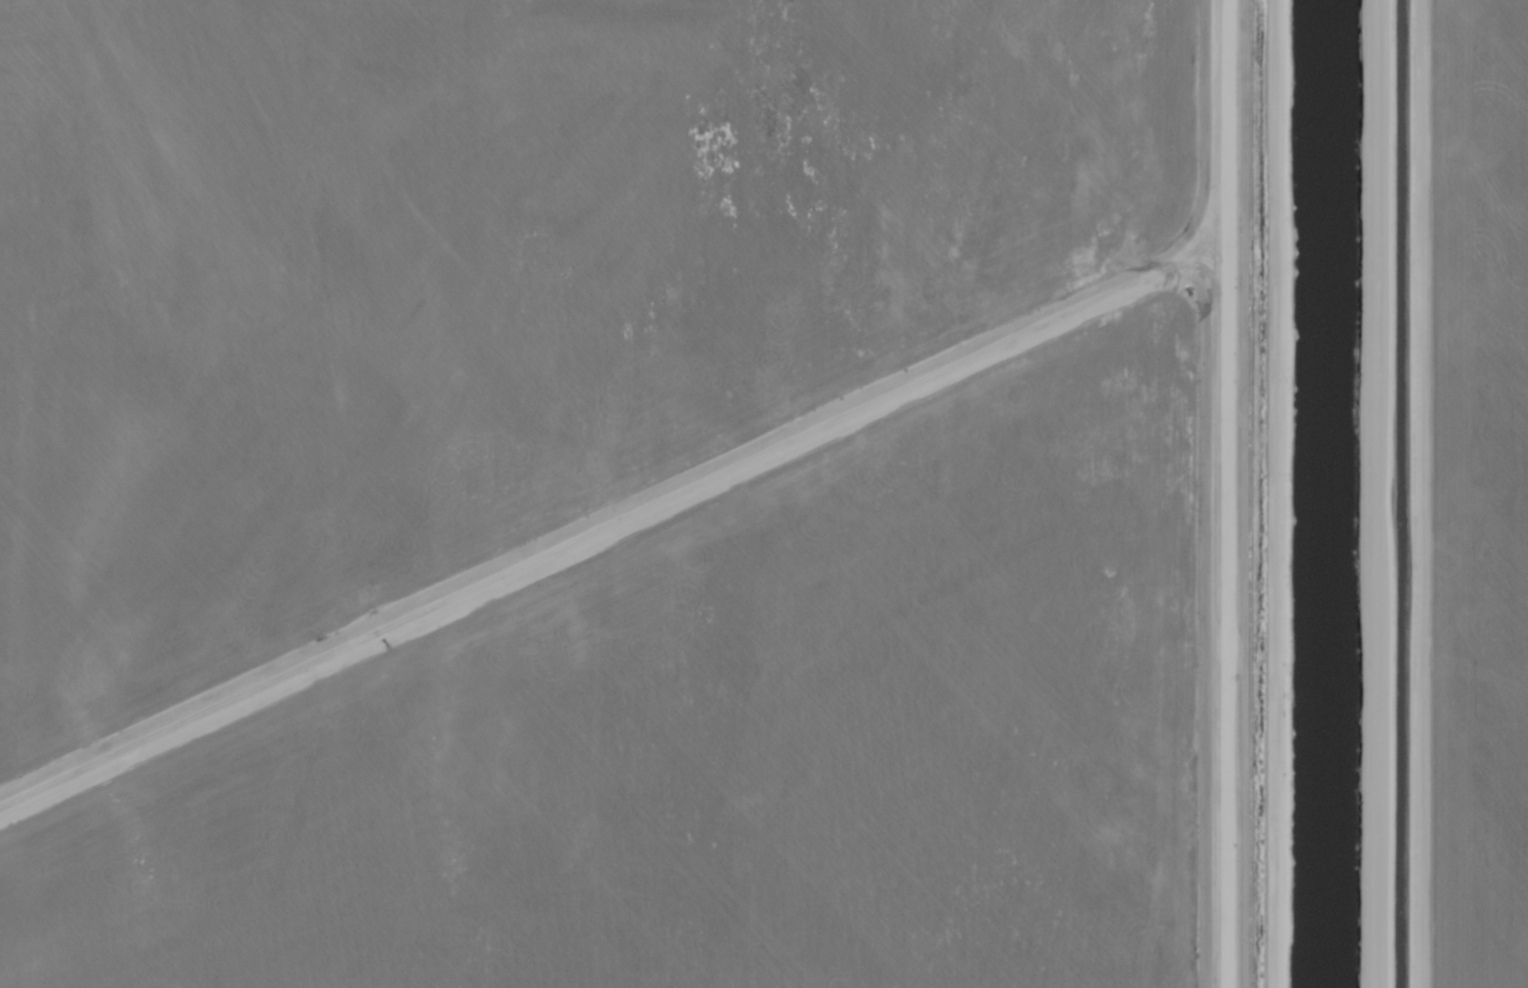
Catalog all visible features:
road: (1232, 494)
road: (1333, 494)

